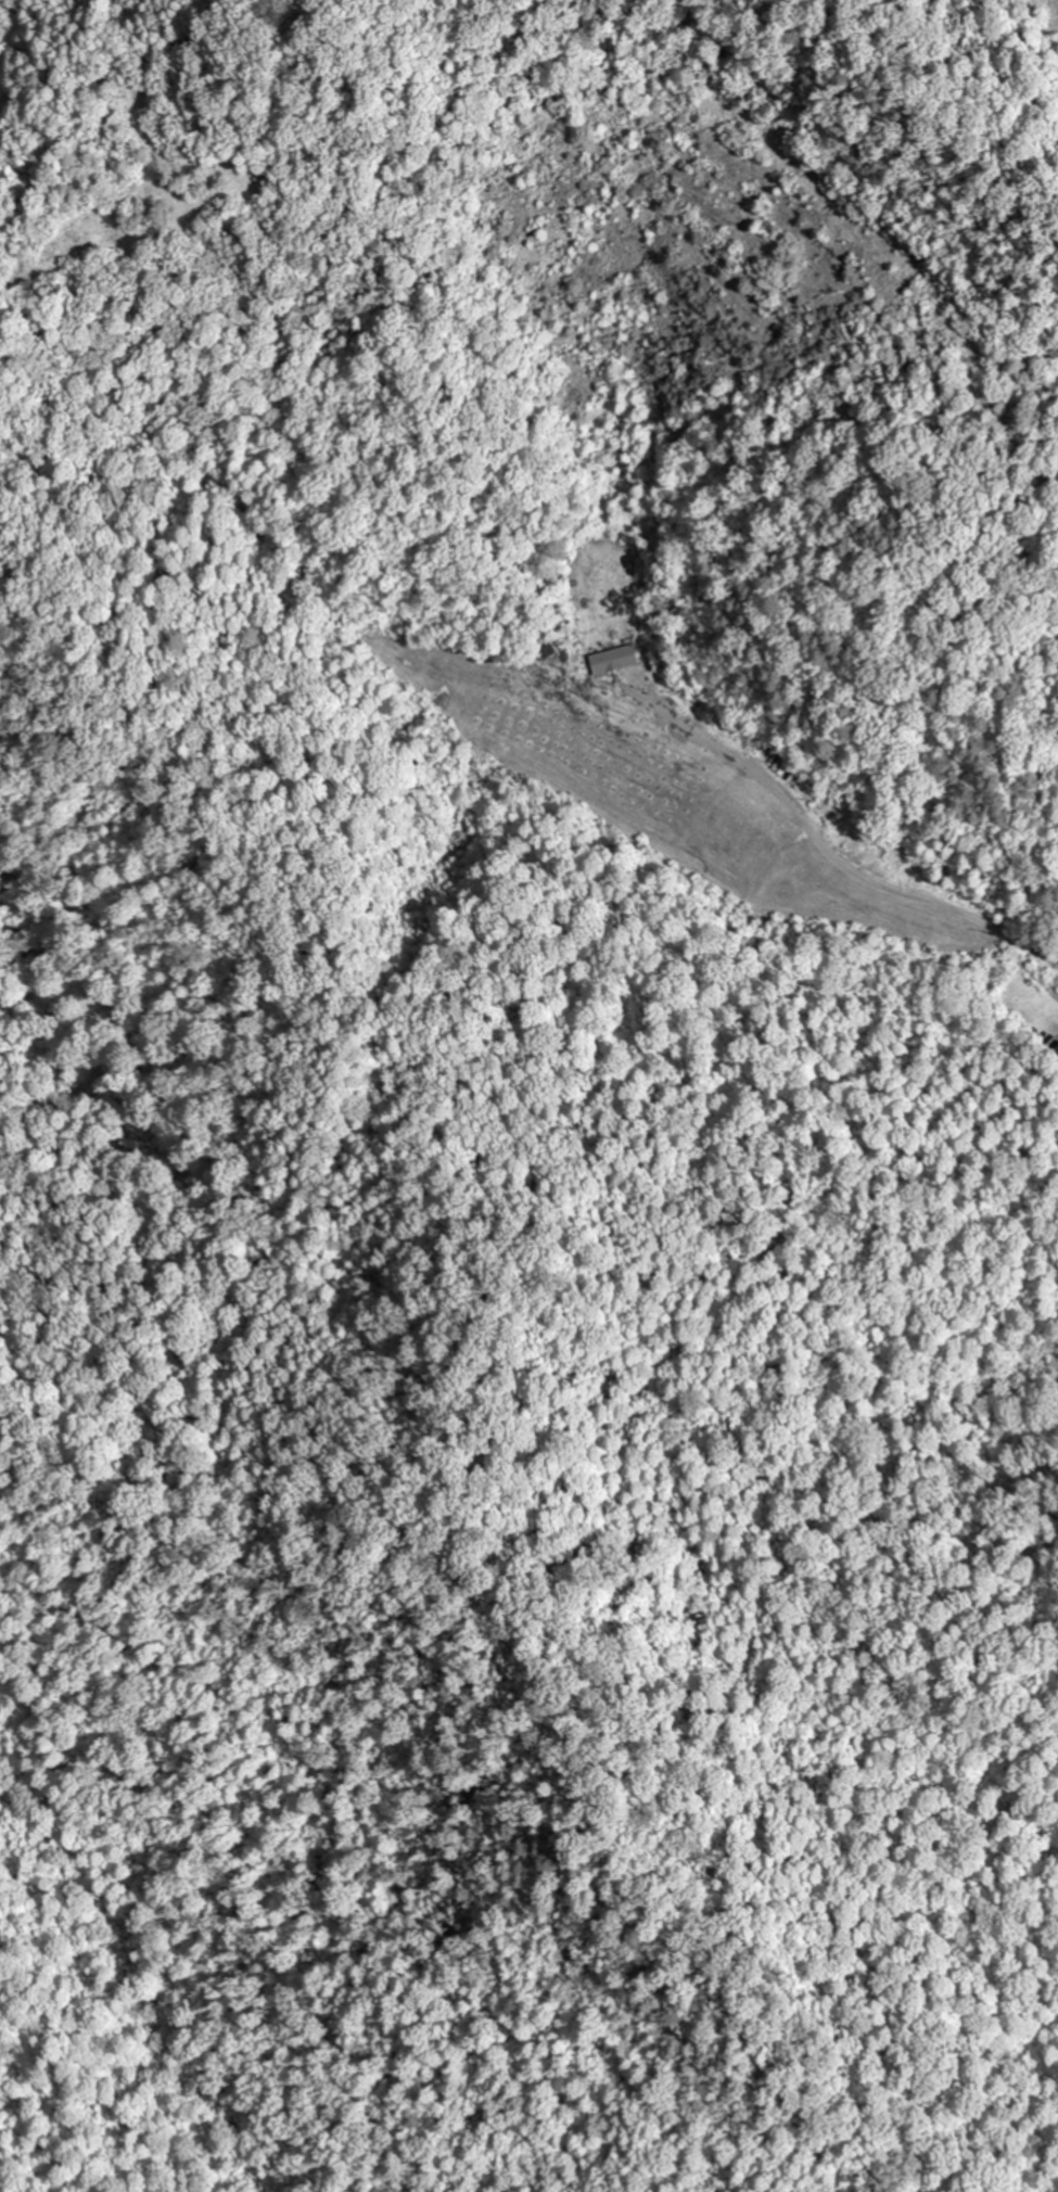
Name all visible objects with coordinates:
building: (625, 658)
road: (927, 908)

